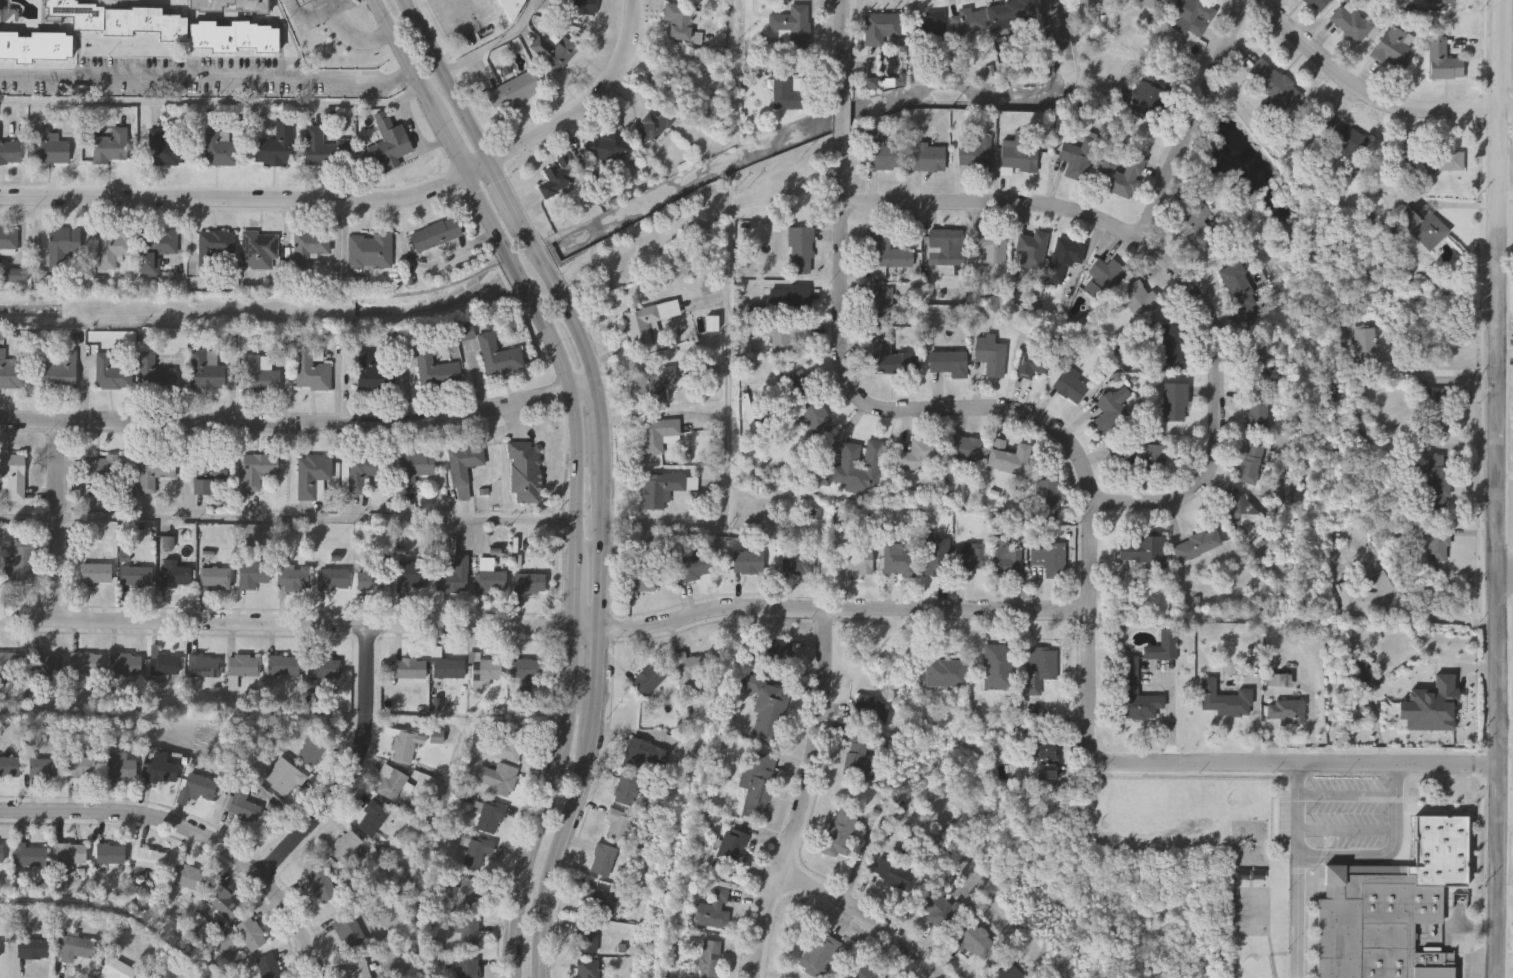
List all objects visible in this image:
road: (291, 1)
road: (299, 1)
building: (300, 2)
building: (1445, 2)
building: (1148, 3)
building: (1318, 4)
building: (1085, 6)
building: (251, 7)
building: (582, 7)
building: (511, 8)
road: (467, 10)
building: (1011, 14)
building: (1188, 15)
road: (309, 16)
parking lot: (465, 19)
building: (119, 21)
building: (679, 22)
building: (967, 22)
building: (1352, 23)
building: (936, 26)
building: (880, 28)
building: (793, 29)
building: (918, 31)
building: (233, 36)
road: (354, 37)
road: (497, 44)
building: (35, 45)
building: (1393, 49)
road: (844, 50)
building: (554, 52)
building: (1442, 61)
road: (207, 81)
building: (1272, 86)
road: (732, 89)
building: (514, 92)
road: (1367, 93)
building: (1145, 98)
road: (213, 104)
road: (1198, 119)
road: (843, 120)
building: (660, 125)
building: (1347, 141)
building: (391, 143)
building: (607, 146)
building: (48, 147)
building: (112, 147)
building: (275, 148)
building: (167, 149)
building: (324, 150)
building: (220, 151)
building: (880, 153)
building: (10, 155)
building: (975, 155)
building: (927, 158)
building: (1079, 158)
building: (1017, 159)
building: (1435, 161)
building: (1119, 176)
building: (559, 178)
road: (366, 201)
road: (998, 202)
building: (1422, 228)
building: (1198, 231)
building: (436, 237)
building: (9, 241)
building: (1031, 245)
building: (947, 246)
building: (113, 248)
building: (214, 248)
building: (990, 248)
building: (62, 249)
building: (309, 250)
building: (155, 251)
building: (801, 251)
building: (259, 253)
building: (370, 254)
building: (886, 255)
building: (1064, 258)
building: (14, 277)
building: (1104, 279)
building: (1239, 287)
building: (1139, 299)
building: (790, 300)
building: (644, 324)
building: (785, 335)
building: (1364, 344)
building: (1173, 349)
road: (1506, 351)
building: (991, 357)
building: (1256, 357)
building: (499, 358)
building: (893, 359)
building: (948, 362)
building: (1033, 363)
building: (206, 372)
building: (436, 373)
road: (1447, 373)
building: (59, 374)
building: (311, 374)
building: (10, 375)
building: (112, 375)
building: (155, 375)
building: (259, 375)
building: (372, 376)
building: (654, 384)
building: (1071, 386)
building: (1175, 402)
building: (807, 403)
road: (869, 405)
building: (1257, 408)
road: (1218, 410)
building: (1109, 414)
road: (729, 417)
road: (301, 425)
building: (657, 435)
building: (966, 450)
building: (919, 455)
building: (1009, 458)
building: (1147, 458)
building: (1250, 464)
building: (464, 465)
building: (860, 467)
road: (580, 468)
road: (608, 469)
building: (414, 470)
building: (98, 471)
building: (257, 472)
building: (154, 473)
building: (359, 474)
building: (525, 475)
building: (312, 477)
building: (12, 478)
building: (211, 478)
building: (1437, 483)
road: (1497, 488)
building: (661, 489)
building: (1048, 500)
building: (1239, 513)
road: (289, 520)
road: (57, 524)
building: (1438, 544)
building: (1196, 545)
building: (1141, 551)
building: (1005, 556)
building: (935, 558)
building: (971, 558)
building: (899, 559)
building: (1050, 559)
building: (857, 562)
building: (748, 563)
building: (798, 563)
building: (19, 567)
building: (694, 567)
road: (1505, 568)
building: (95, 576)
building: (174, 577)
building: (253, 577)
building: (136, 578)
building: (412, 579)
building: (294, 580)
building: (453, 580)
building: (490, 580)
building: (215, 581)
building: (334, 582)
building: (374, 583)
building: (639, 583)
building: (529, 586)
building: (1365, 593)
road: (1445, 621)
road: (544, 631)
road: (1087, 636)
building: (1164, 646)
building: (772, 650)
building: (11, 663)
building: (1042, 665)
building: (87, 666)
building: (126, 666)
building: (165, 667)
building: (998, 667)
building: (46, 668)
building: (204, 668)
building: (244, 668)
building: (285, 668)
building: (327, 670)
building: (410, 670)
building: (688, 670)
building: (449, 671)
building: (485, 671)
building: (946, 673)
building: (525, 674)
building: (648, 680)
building: (1135, 694)
building: (1225, 699)
building: (1406, 703)
building: (766, 709)
building: (871, 711)
building: (1286, 711)
building: (510, 747)
building: (406, 748)
building: (311, 752)
building: (645, 754)
building: (859, 756)
building: (1046, 761)
road: (1302, 765)
building: (8, 768)
building: (81, 769)
road: (356, 769)
building: (42, 770)
building: (118, 772)
building: (160, 774)
building: (283, 779)
building: (496, 780)
building: (391, 784)
building: (757, 785)
building: (199, 788)
building: (626, 789)
road: (1347, 796)
road: (807, 797)
building: (241, 808)
road: (1297, 810)
building: (488, 819)
building: (372, 821)
building: (617, 824)
building: (843, 830)
road: (195, 832)
road: (1346, 832)
building: (734, 843)
building: (345, 848)
building: (477, 853)
road: (1387, 853)
building: (1, 855)
building: (70, 856)
building: (110, 856)
building: (29, 858)
building: (603, 860)
building: (149, 861)
building: (893, 875)
building: (187, 879)
building: (321, 888)
building: (470, 897)
building: (595, 903)
building: (224, 906)
building: (1392, 906)
building: (938, 908)
building: (715, 910)
road: (872, 914)
road: (1296, 917)
building: (348, 934)
building: (250, 936)
building: (470, 937)
building: (587, 937)
building: (975, 943)
building: (73, 950)
building: (31, 951)
building: (819, 955)
building: (709, 959)
building: (268, 968)
building: (357, 969)
building: (468, 969)
building: (587, 969)
building: (115, 970)
building: (1007, 972)

